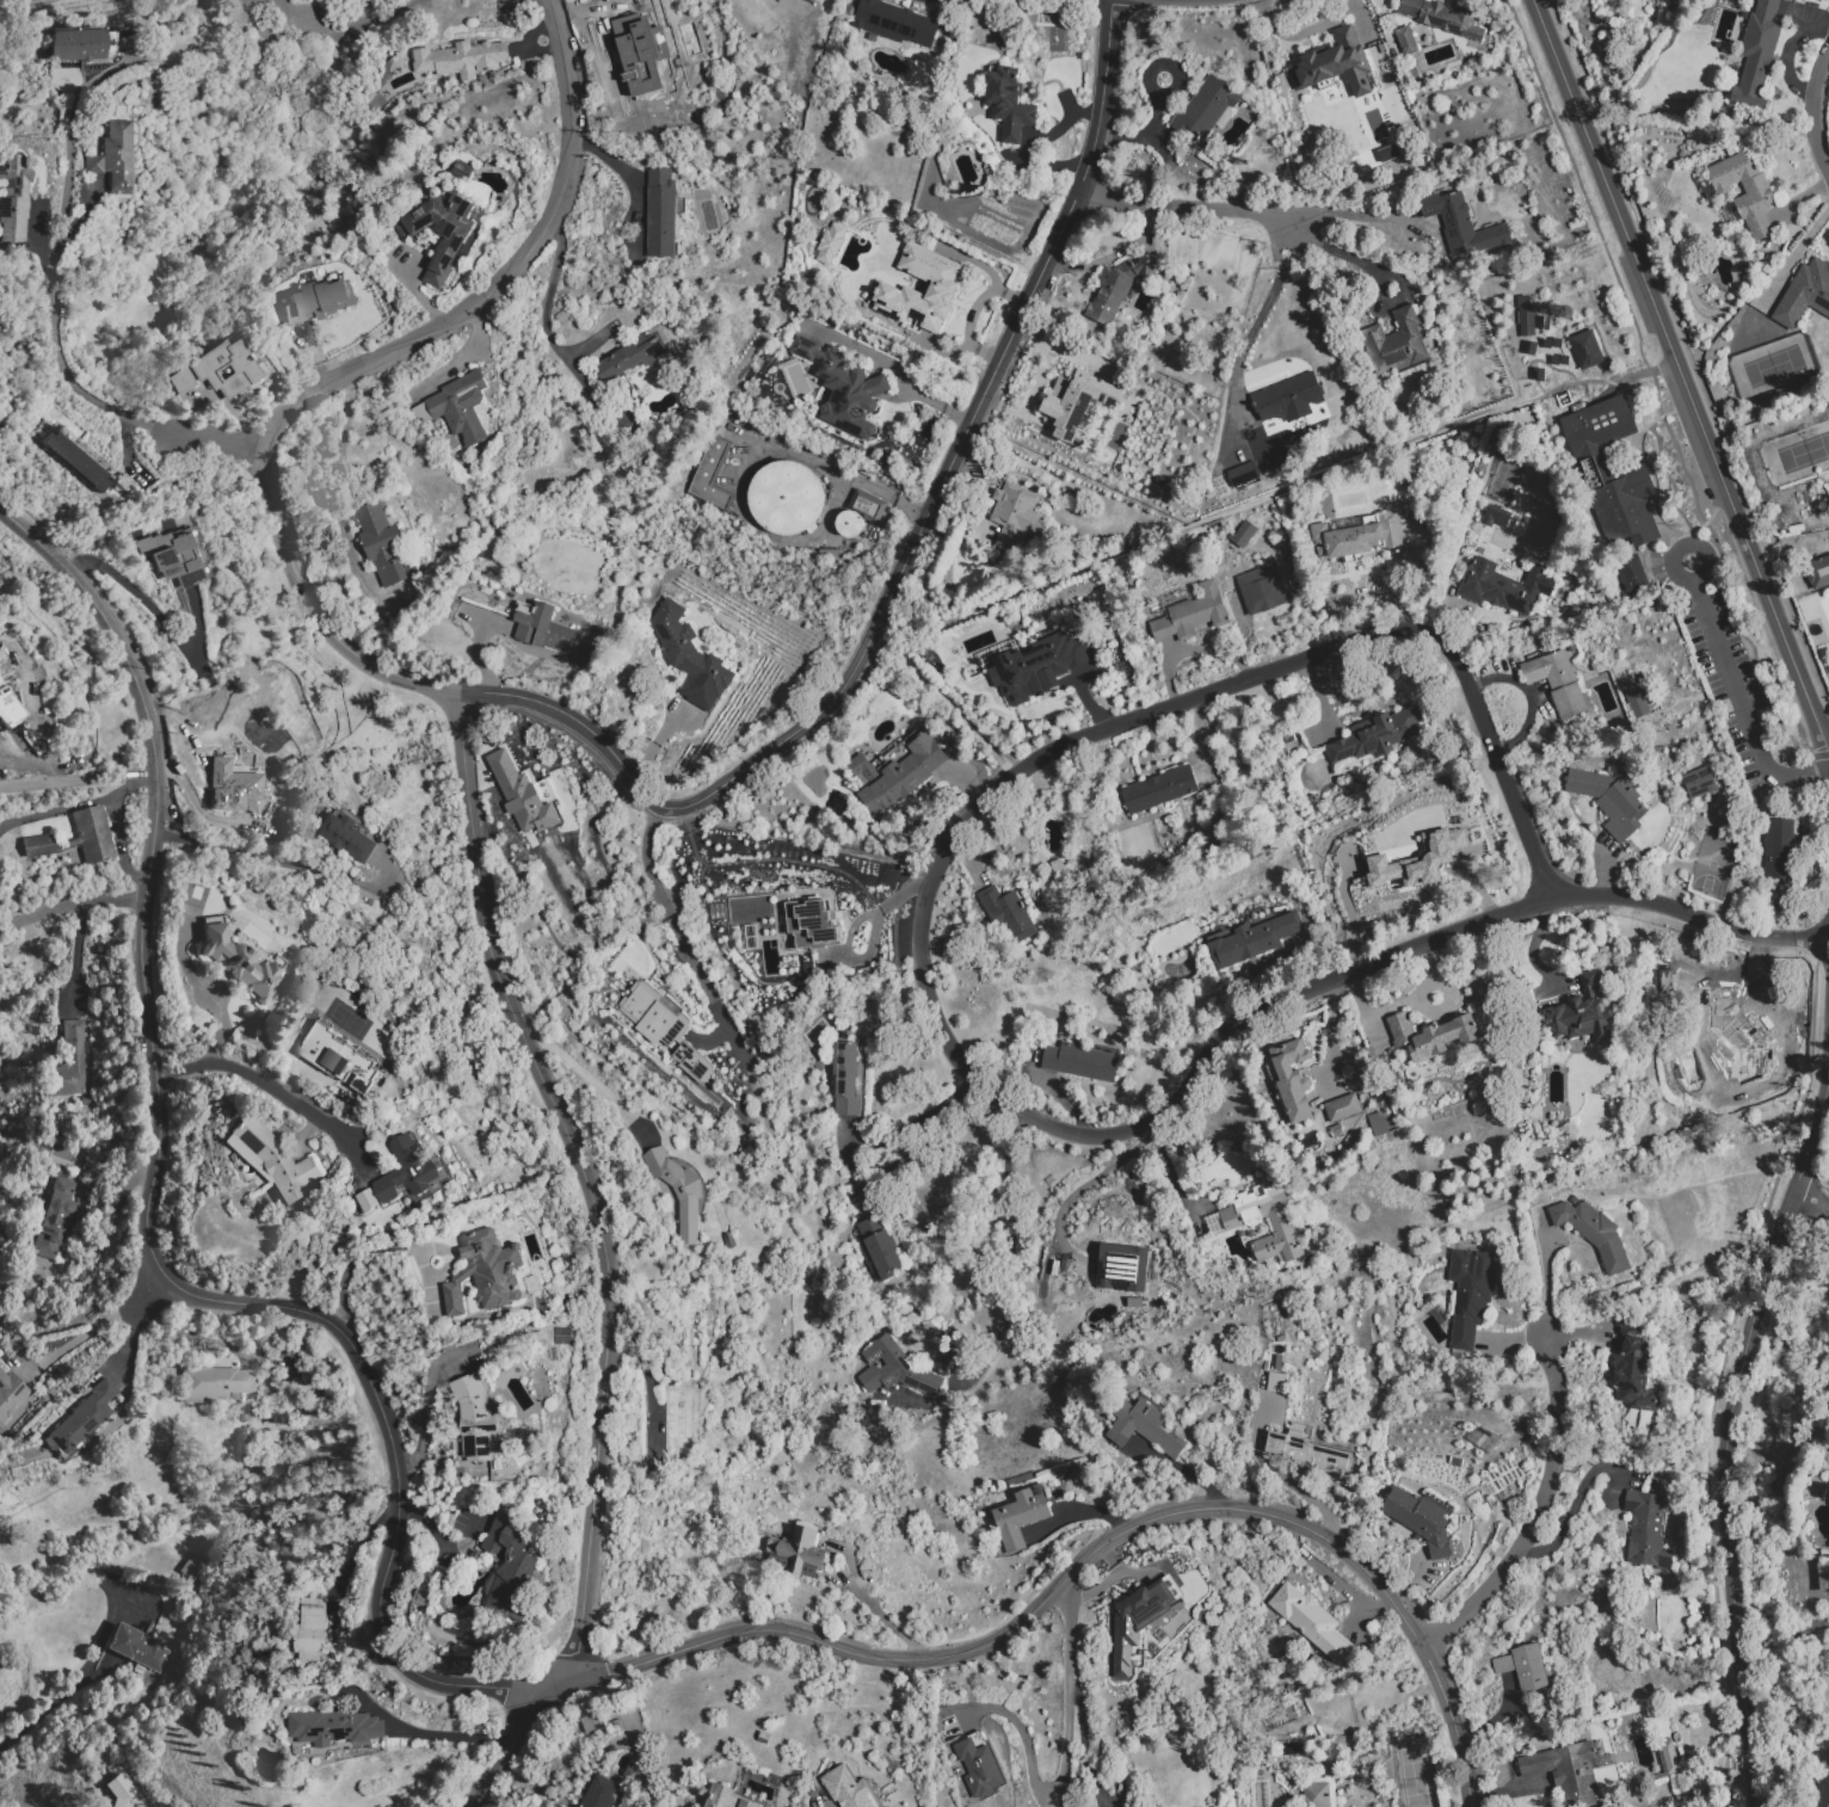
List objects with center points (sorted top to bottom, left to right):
building: (1738, 0)
building: (1442, 18)
building: (893, 24)
road: (1303, 32)
building: (1406, 41)
building: (76, 44)
building: (638, 48)
building: (1757, 56)
building: (461, 60)
building: (1328, 70)
building: (1009, 105)
building: (1206, 106)
road: (1813, 110)
building: (1387, 152)
building: (113, 158)
building: (463, 171)
road: (618, 171)
building: (1744, 192)
building: (14, 197)
road: (1189, 206)
building: (661, 214)
road: (1354, 215)
building: (1464, 224)
building: (442, 233)
building: (831, 243)
road: (1113, 255)
road: (1343, 257)
building: (1121, 283)
building: (942, 288)
building: (1805, 295)
building: (322, 308)
road: (55, 310)
road: (541, 317)
building: (1526, 322)
road: (1252, 328)
building: (1397, 343)
building: (1585, 350)
building: (633, 356)
road: (462, 357)
park: (1773, 365)
building: (218, 369)
road: (893, 369)
road: (1681, 372)
building: (843, 390)
building: (1289, 397)
building: (1076, 405)
building: (456, 407)
building: (1597, 426)
road: (1655, 436)
park: (1803, 452)
building: (76, 457)
road: (335, 468)
building: (1244, 476)
building: (710, 479)
road: (1277, 495)
building: (792, 498)
building: (1622, 505)
building: (1015, 517)
building: (854, 526)
building: (1243, 535)
building: (1356, 537)
building: (381, 544)
building: (173, 559)
road: (903, 565)
building: (1817, 572)
building: (1630, 574)
building: (1504, 586)
building: (1262, 590)
building: (1193, 615)
road: (156, 619)
building: (546, 630)
parking lot: (1716, 647)
building: (690, 653)
building: (1037, 667)
building: (1558, 682)
road: (1733, 682)
road: (946, 701)
building: (10, 703)
building: (1637, 703)
road: (460, 728)
building: (1378, 735)
building: (895, 776)
road: (1811, 776)
road: (80, 777)
building: (238, 778)
building: (1698, 782)
building: (1157, 790)
building: (522, 796)
building: (1613, 801)
building: (92, 834)
building: (346, 838)
building: (38, 845)
building: (1779, 850)
building: (0, 852)
road: (272, 861)
building: (1416, 861)
road: (73, 906)
road: (1691, 913)
building: (1008, 915)
building: (802, 930)
building: (1252, 935)
road: (74, 956)
road: (694, 958)
building: (241, 963)
road: (204, 992)
building: (645, 1007)
road: (1394, 1007)
building: (1578, 1012)
building: (1433, 1036)
building: (1723, 1042)
building: (339, 1057)
building: (68, 1062)
building: (1080, 1062)
building: (845, 1079)
building: (1289, 1079)
road: (589, 1080)
road: (272, 1090)
road: (1005, 1104)
building: (1343, 1108)
road: (912, 1122)
building: (1377, 1123)
building: (276, 1160)
building: (406, 1170)
building: (678, 1191)
road: (1810, 1201)
road: (148, 1202)
building: (53, 1221)
building: (1270, 1222)
building: (1593, 1233)
road: (104, 1244)
road: (1049, 1246)
building: (877, 1248)
building: (1122, 1269)
building: (484, 1272)
road: (1542, 1275)
road: (1353, 1281)
building: (1470, 1295)
road: (98, 1325)
road: (192, 1331)
building: (894, 1369)
building: (1633, 1375)
building: (218, 1382)
building: (10, 1393)
road: (426, 1402)
building: (81, 1416)
building: (475, 1417)
building: (682, 1418)
building: (1, 1426)
building: (1141, 1429)
road: (1728, 1437)
building: (1307, 1453)
building: (1828, 1499)
road: (1538, 1510)
building: (1020, 1518)
building: (1422, 1519)
building: (1646, 1528)
building: (798, 1553)
road: (1078, 1567)
building: (509, 1569)
road: (1330, 1579)
road: (880, 1617)
building: (1138, 1620)
building: (1310, 1621)
building: (310, 1632)
building: (137, 1647)
building: (1525, 1667)
road: (43, 1713)
building: (591, 1722)
building: (332, 1732)
road: (447, 1737)
road: (506, 1751)
building: (1669, 1757)
road: (639, 1760)
road: (1067, 1766)
building: (978, 1769)
building: (1566, 1771)
building: (119, 1786)
building: (846, 1788)
building: (599, 1793)
building: (1316, 1795)
building: (726, 1797)
road: (1053, 1799)

